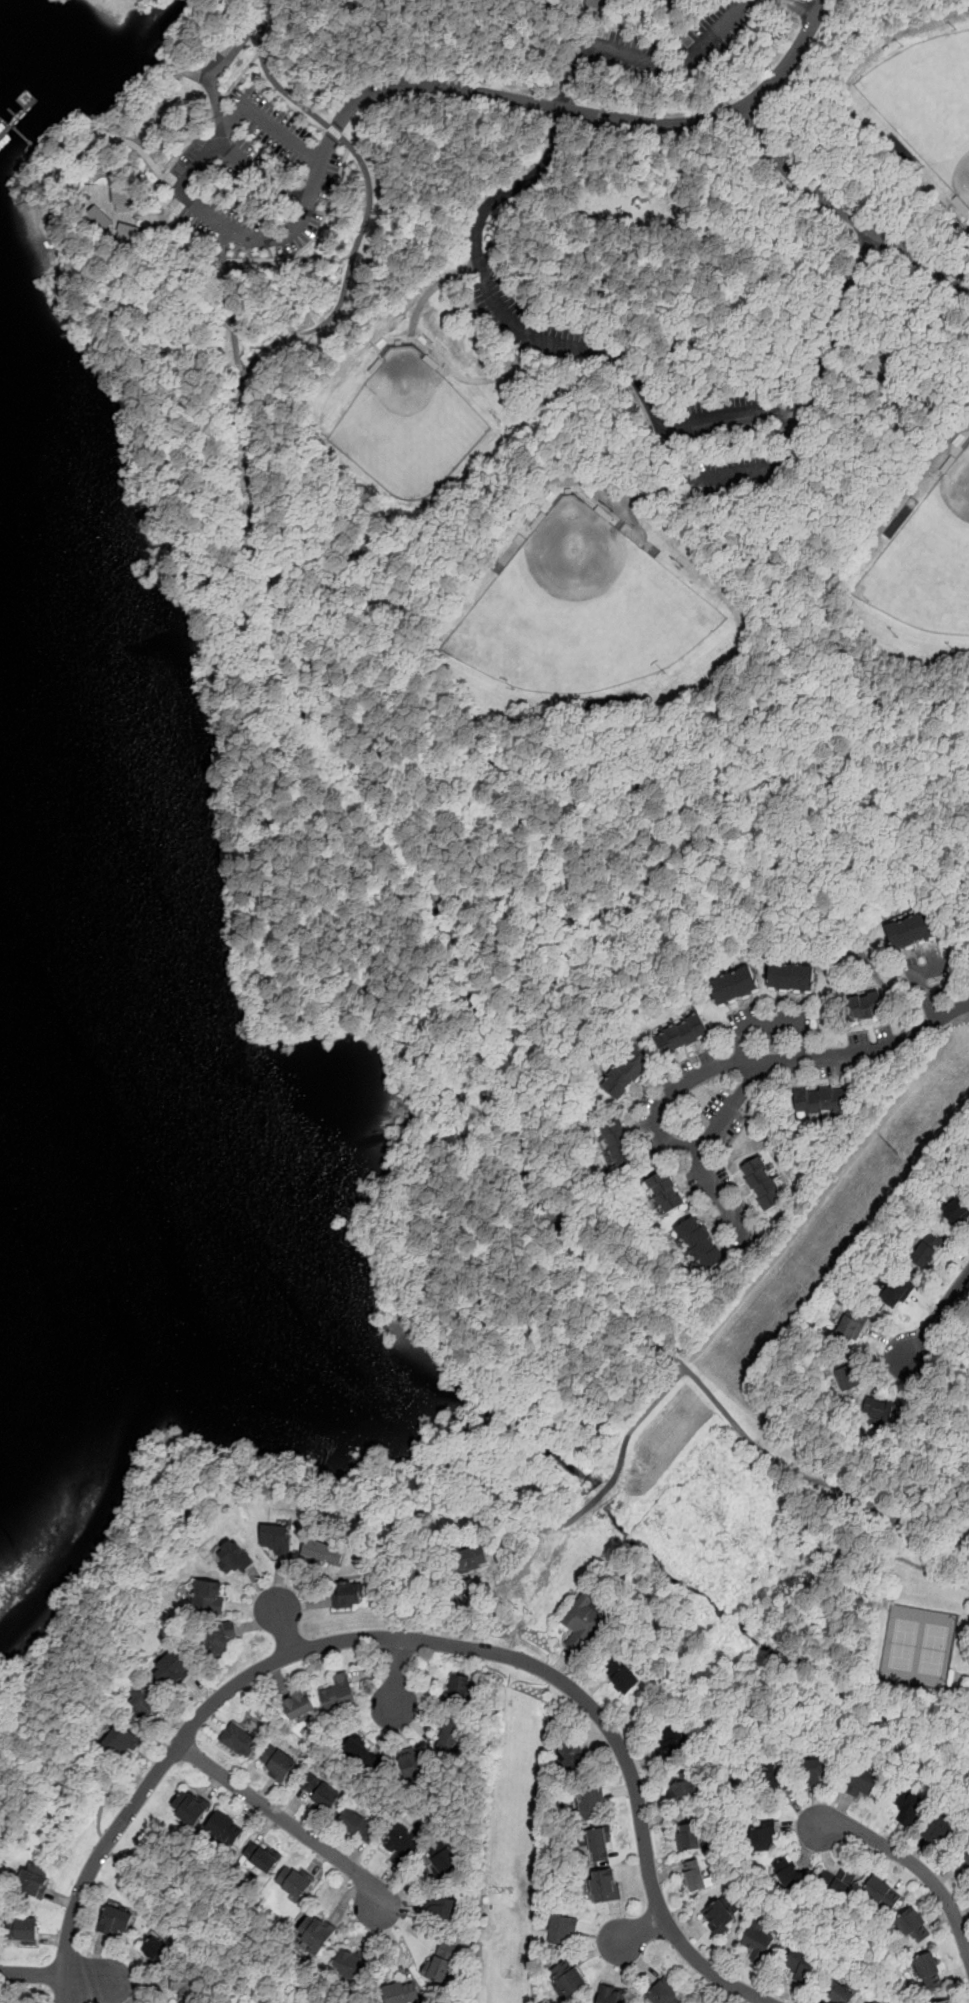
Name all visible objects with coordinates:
road: (273, 4)
building: (593, 5)
road: (802, 6)
road: (605, 23)
road: (574, 26)
road: (681, 28)
parking lot: (681, 46)
road: (230, 53)
road: (649, 58)
road: (185, 70)
road: (239, 78)
road: (612, 85)
road: (145, 96)
park: (931, 96)
road: (219, 107)
road: (591, 114)
pier: (20, 116)
road: (263, 121)
road: (98, 128)
road: (93, 133)
road: (603, 147)
road: (64, 155)
road: (57, 169)
road: (77, 175)
parking lot: (254, 176)
road: (120, 186)
road: (428, 187)
road: (66, 190)
road: (946, 192)
building: (124, 199)
road: (182, 200)
road: (369, 203)
road: (175, 206)
road: (194, 206)
road: (845, 211)
building: (98, 216)
road: (132, 217)
building: (125, 234)
road: (313, 237)
road: (184, 241)
road: (270, 242)
road: (747, 251)
road: (663, 252)
road: (221, 253)
road: (290, 289)
road: (497, 303)
parking lot: (526, 318)
road: (916, 321)
road: (835, 327)
road: (373, 331)
road: (386, 343)
road: (431, 352)
building: (877, 361)
road: (873, 398)
road: (731, 421)
park: (412, 427)
parking lot: (731, 439)
road: (955, 447)
road: (679, 459)
road: (795, 460)
road: (762, 469)
road: (634, 492)
road: (261, 510)
park: (931, 567)
road: (787, 587)
road: (765, 611)
park: (588, 614)
road: (307, 644)
road: (610, 766)
park: (442, 778)
building: (910, 930)
building: (792, 977)
parking lot: (927, 977)
building: (734, 985)
road: (921, 985)
road: (476, 1005)
building: (864, 1006)
road: (770, 1023)
parking lot: (771, 1024)
parking lot: (883, 1032)
building: (681, 1035)
parking lot: (858, 1038)
road: (870, 1049)
parking lot: (706, 1056)
parking lot: (684, 1068)
parking lot: (828, 1069)
parking lot: (797, 1072)
building: (625, 1074)
parking lot: (664, 1080)
parking lot: (648, 1098)
building: (820, 1099)
parking lot: (716, 1104)
parking lot: (644, 1124)
parking lot: (731, 1129)
road: (661, 1133)
building: (618, 1146)
parking lot: (653, 1146)
power tower: (893, 1150)
parking lot: (722, 1174)
parking lot: (692, 1179)
building: (761, 1183)
building: (666, 1194)
road: (717, 1195)
building: (954, 1206)
parking lot: (746, 1212)
parking lot: (728, 1233)
building: (696, 1246)
building: (923, 1248)
road: (955, 1251)
building: (893, 1290)
road: (925, 1301)
road: (938, 1315)
building: (850, 1328)
road: (886, 1341)
road: (934, 1348)
road: (958, 1352)
road: (967, 1354)
road: (874, 1356)
road: (888, 1375)
building: (849, 1377)
building: (882, 1409)
road: (640, 1421)
road: (936, 1471)
road: (801, 1473)
road: (192, 1484)
road: (600, 1495)
building: (275, 1541)
building: (322, 1553)
building: (233, 1557)
building: (471, 1558)
road: (943, 1580)
building: (347, 1595)
building: (209, 1596)
power tower: (517, 1608)
building: (581, 1622)
road: (282, 1623)
building: (213, 1638)
road: (412, 1640)
park: (917, 1650)
building: (171, 1669)
building: (621, 1675)
road: (397, 1679)
building: (459, 1689)
building: (338, 1693)
building: (142, 1702)
building: (297, 1705)
building: (450, 1738)
building: (240, 1741)
building: (120, 1743)
building: (672, 1745)
building: (359, 1750)
building: (571, 1758)
building: (411, 1762)
building: (278, 1765)
building: (815, 1770)
building: (778, 1778)
building: (863, 1781)
building: (683, 1786)
building: (319, 1792)
building: (590, 1804)
building: (908, 1806)
building: (190, 1810)
road: (291, 1825)
building: (358, 1827)
building: (224, 1829)
building: (942, 1832)
building: (689, 1836)
building: (764, 1841)
building: (598, 1844)
building: (401, 1847)
road: (909, 1859)
building: (260, 1860)
building: (442, 1860)
building: (965, 1864)
building: (788, 1874)
building: (696, 1875)
building: (35, 1880)
road: (171, 1881)
building: (293, 1882)
building: (837, 1884)
building: (604, 1887)
power tower: (506, 1893)
building: (883, 1894)
building: (440, 1908)
building: (719, 1917)
building: (116, 1922)
building: (914, 1925)
building: (23, 1930)
building: (561, 1930)
road: (635, 1934)
building: (313, 1935)
building: (758, 1943)
building: (159, 1951)
building: (441, 1963)
building: (800, 1965)
building: (352, 1966)
building: (929, 1971)
road: (64, 1974)
building: (569, 1978)
building: (182, 1987)
building: (401, 1993)
building: (839, 1993)
building: (611, 1995)
building: (663, 1995)
building: (876, 2001)
building: (878, 2001)
building: (946, 2001)

